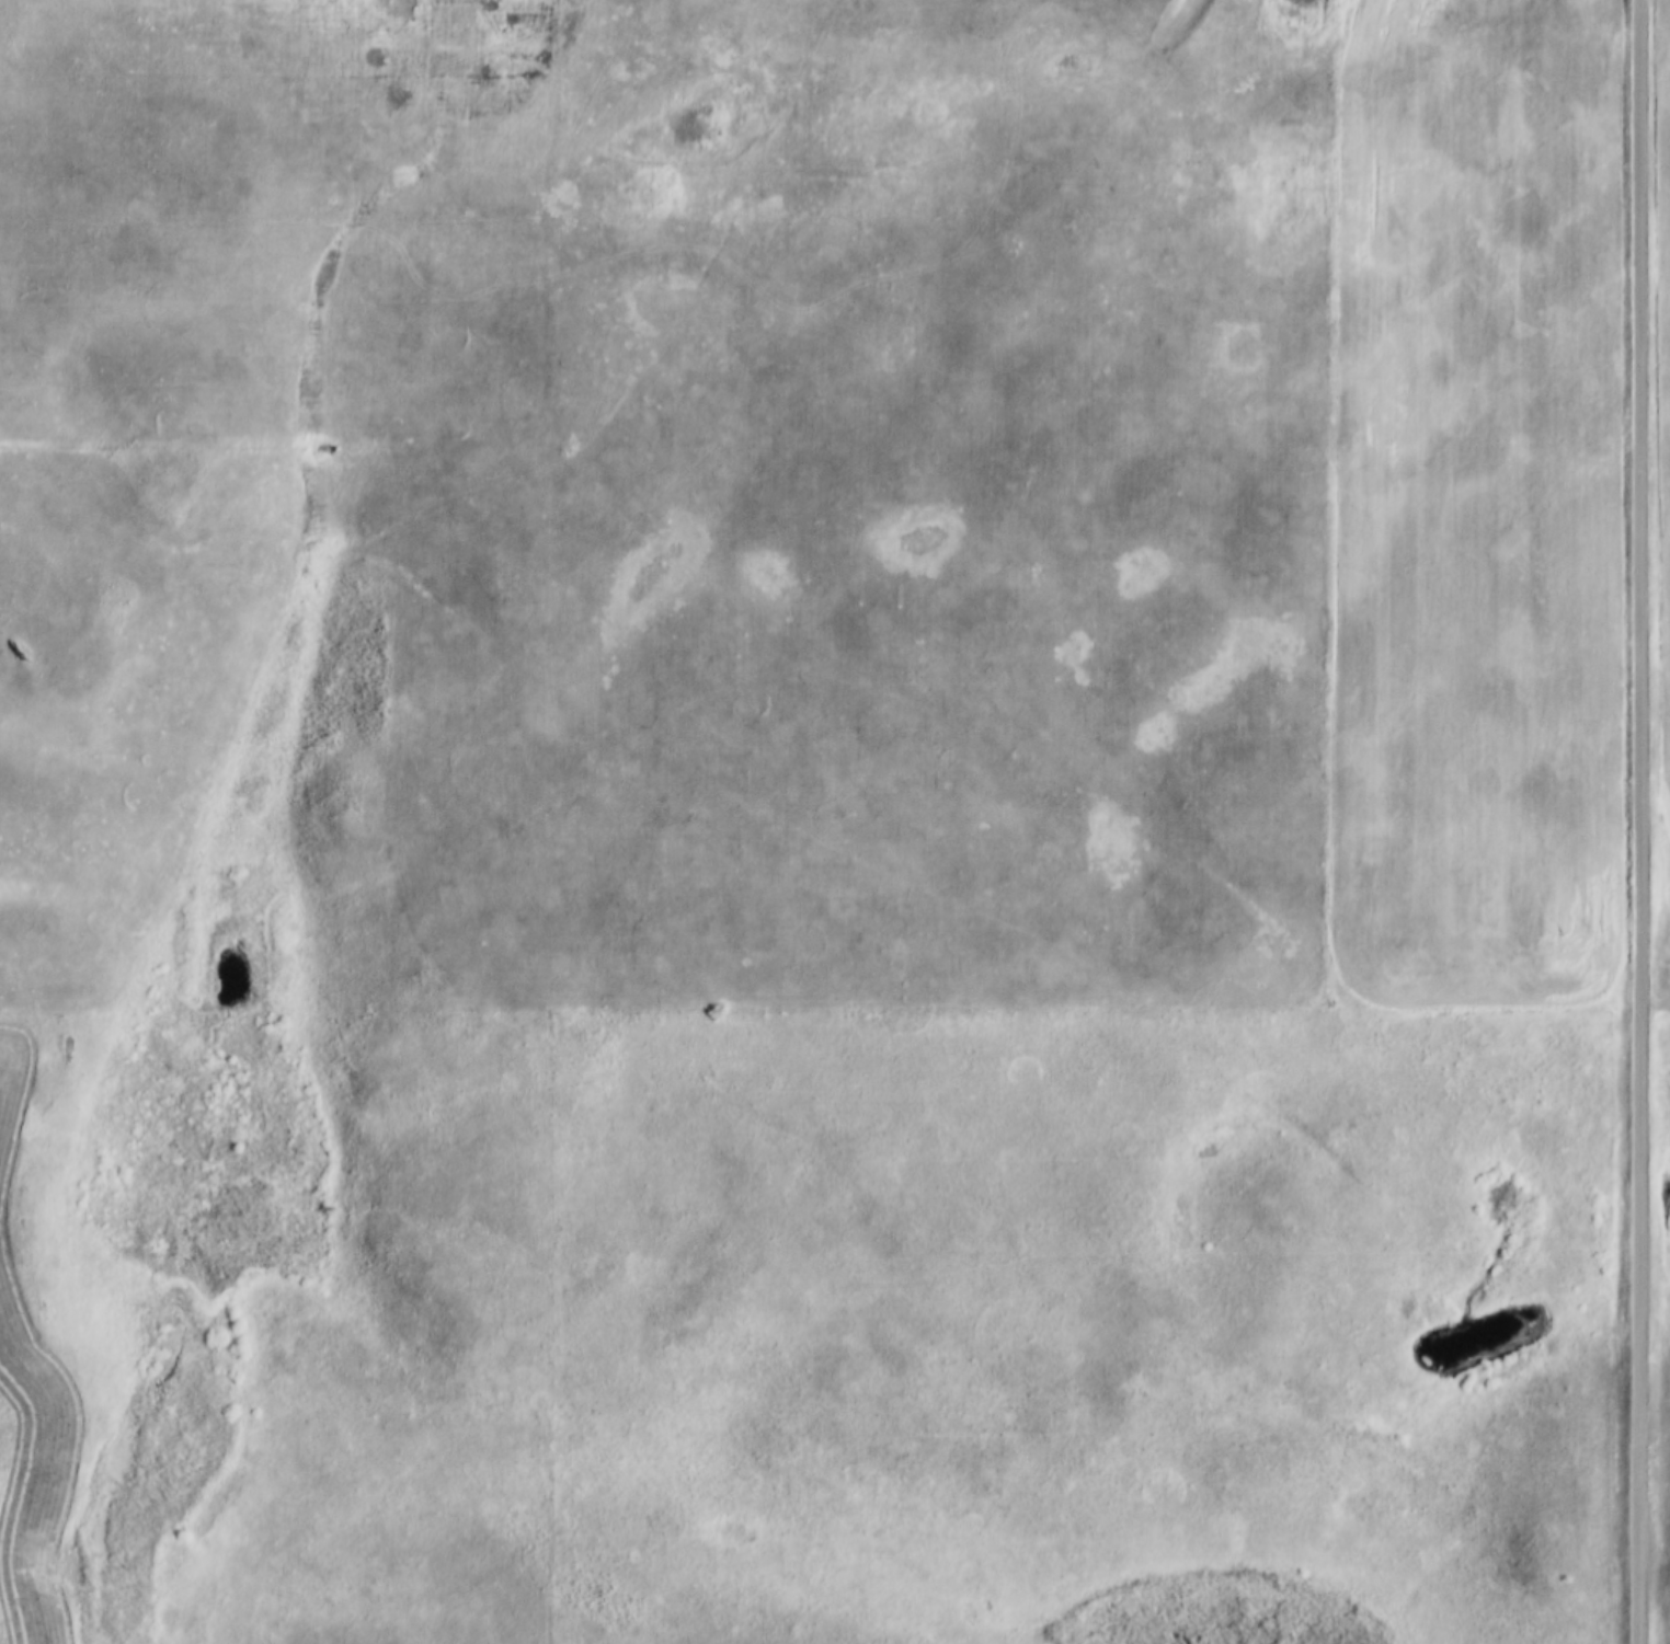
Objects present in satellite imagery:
road: (1638, 821)

